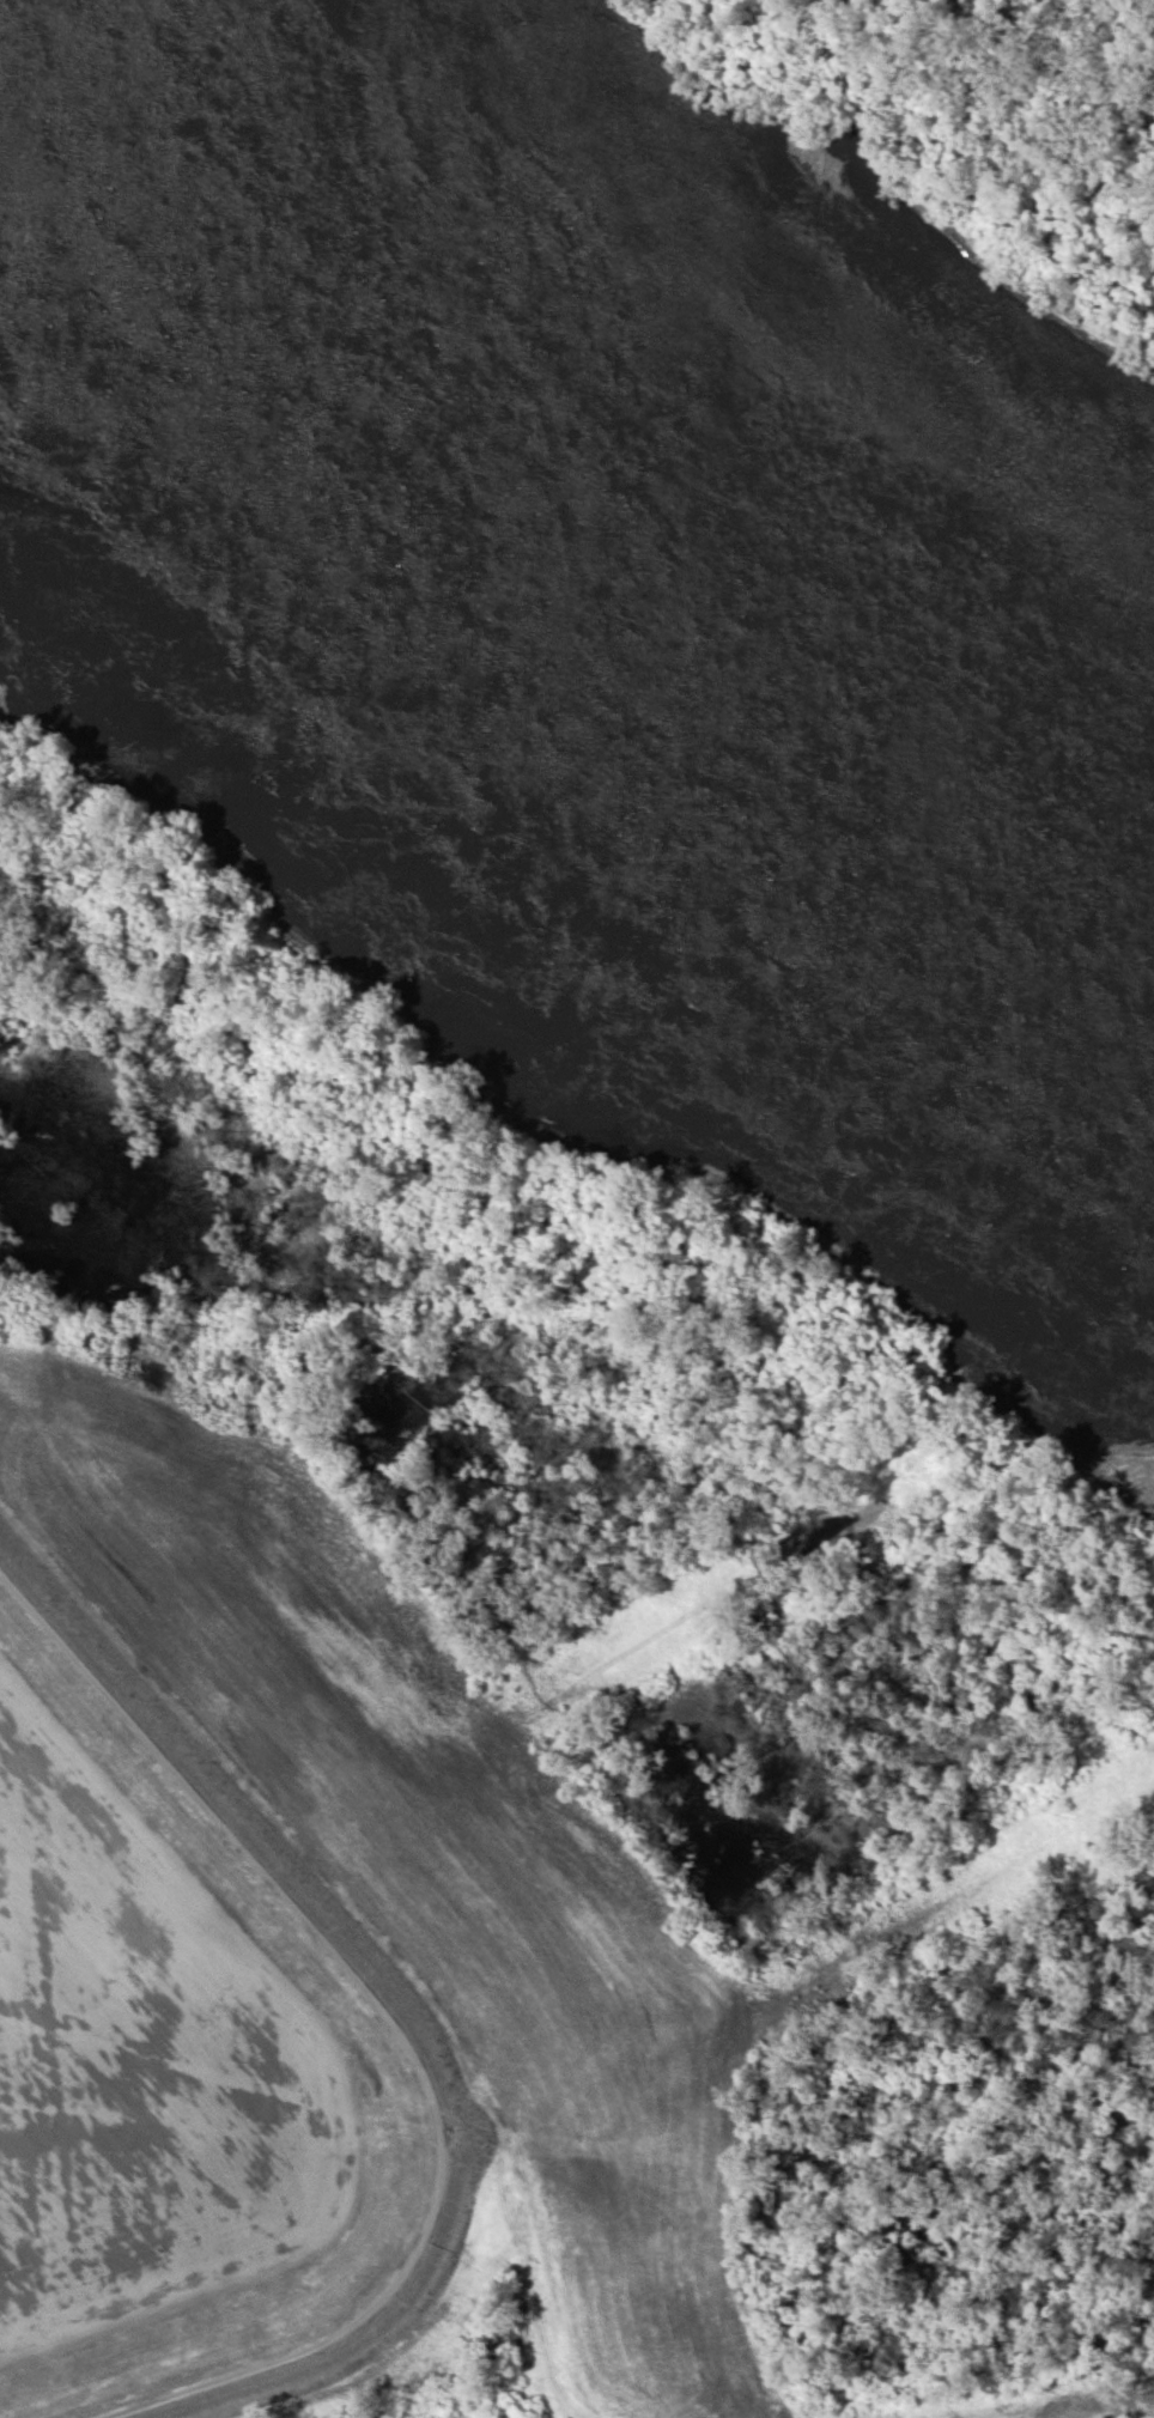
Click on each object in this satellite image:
river: (577, 551)
crop: (60, 1825)
crop: (431, 1845)
road: (397, 2031)

